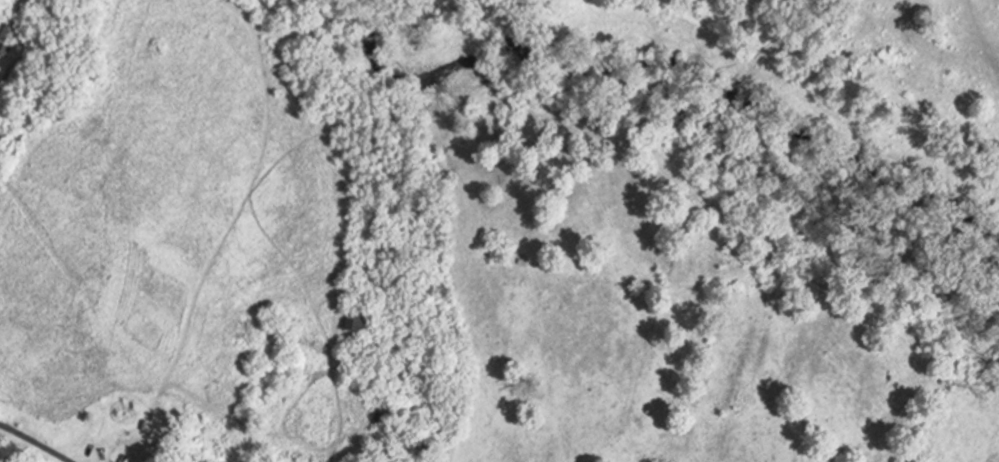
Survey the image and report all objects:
building: (8, 40)
building: (363, 320)
building: (385, 417)
road: (35, 443)

